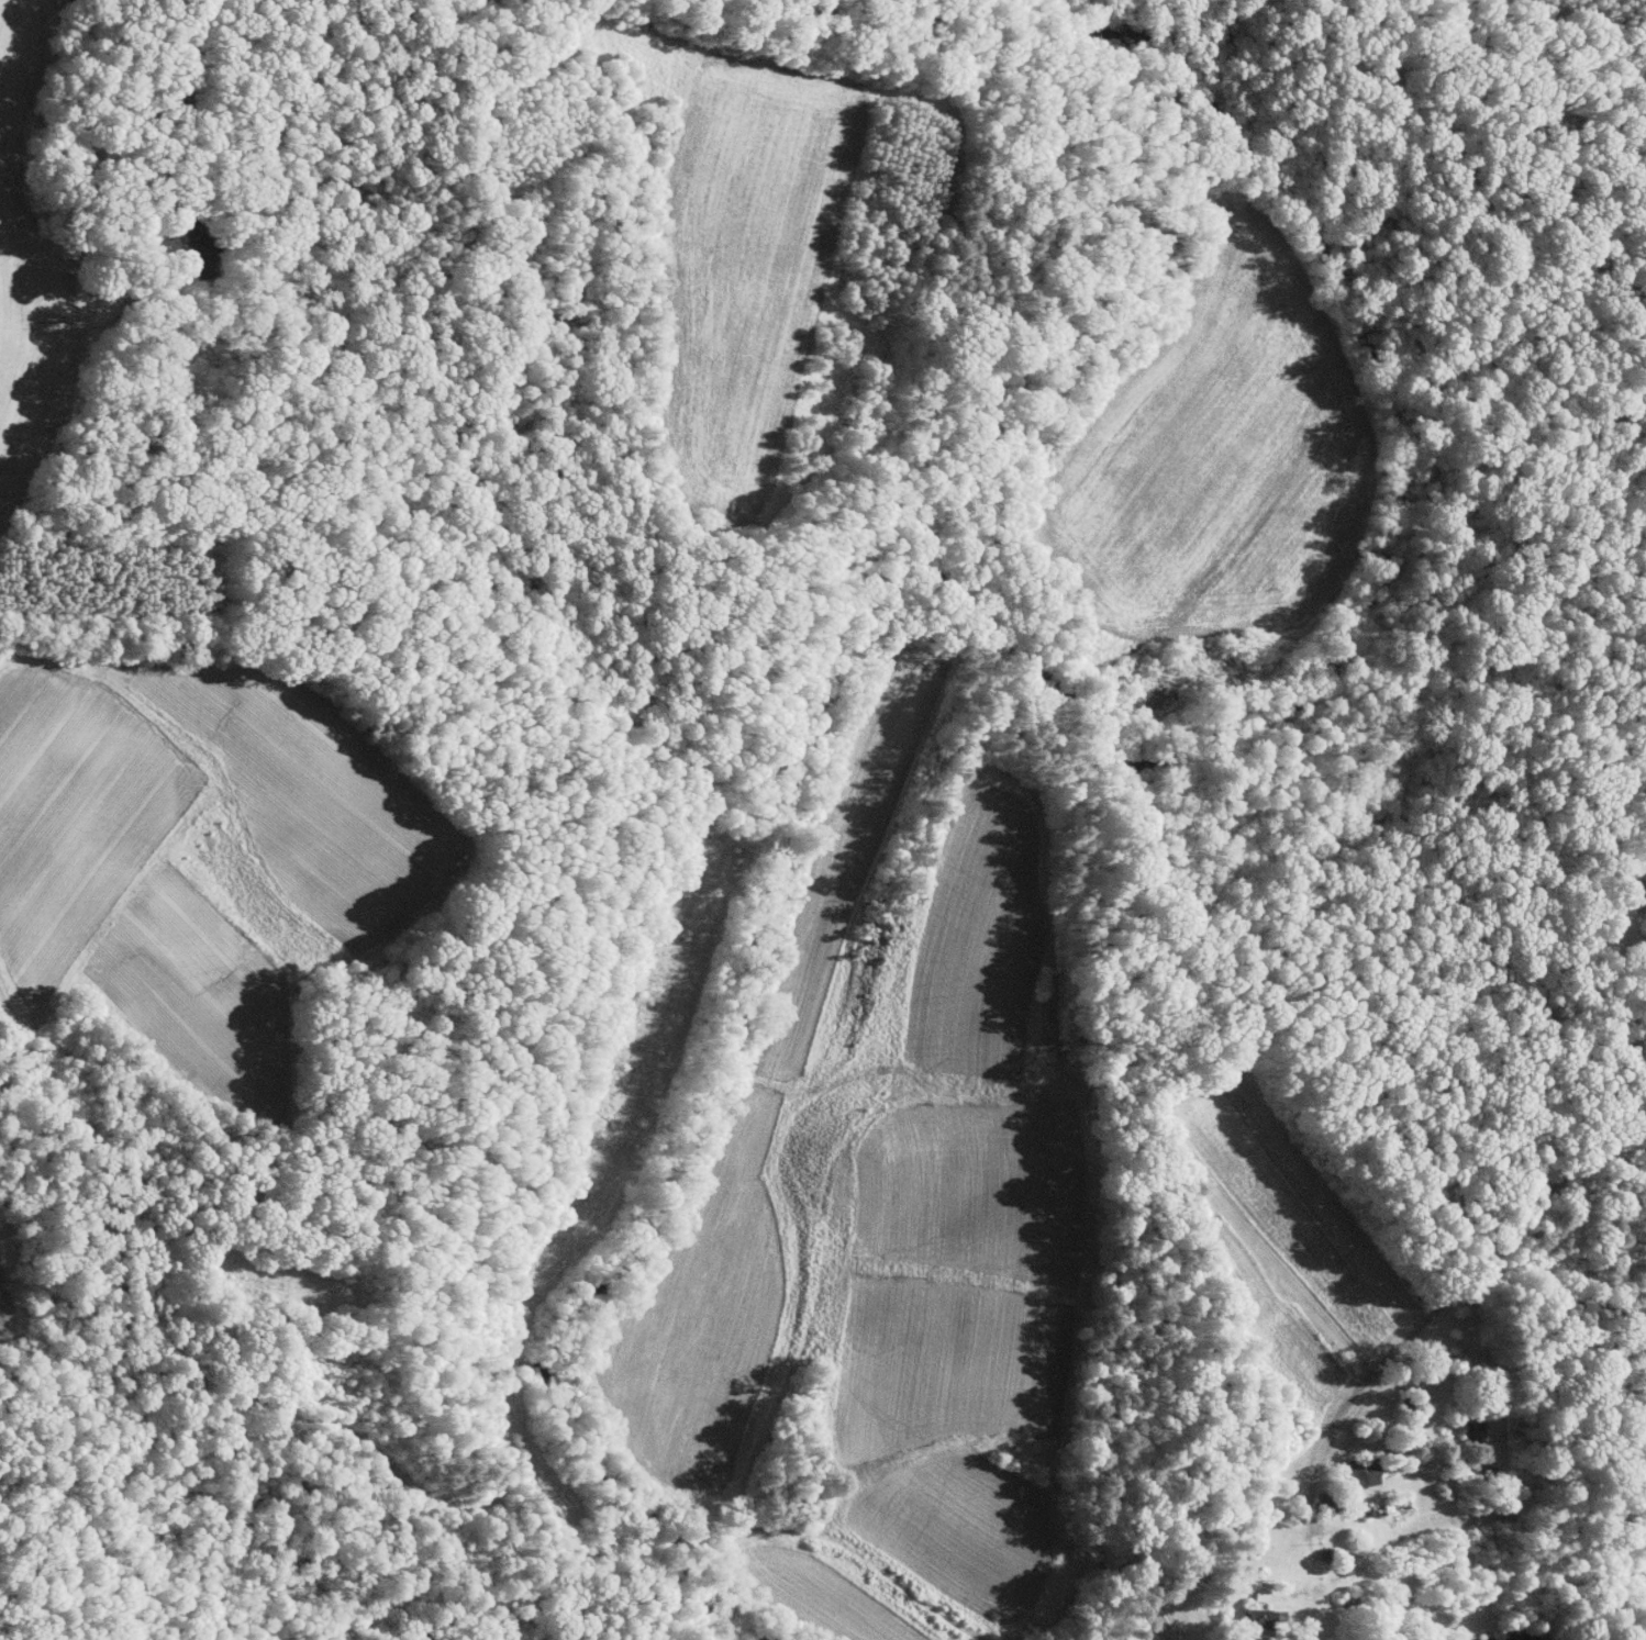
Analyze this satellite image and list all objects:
road: (145, 91)
building: (183, 236)
building: (1645, 868)
building: (1645, 880)
road: (1628, 1036)
road: (1421, 1321)
building: (1350, 1465)
building: (1248, 1588)
building: (1246, 1616)

